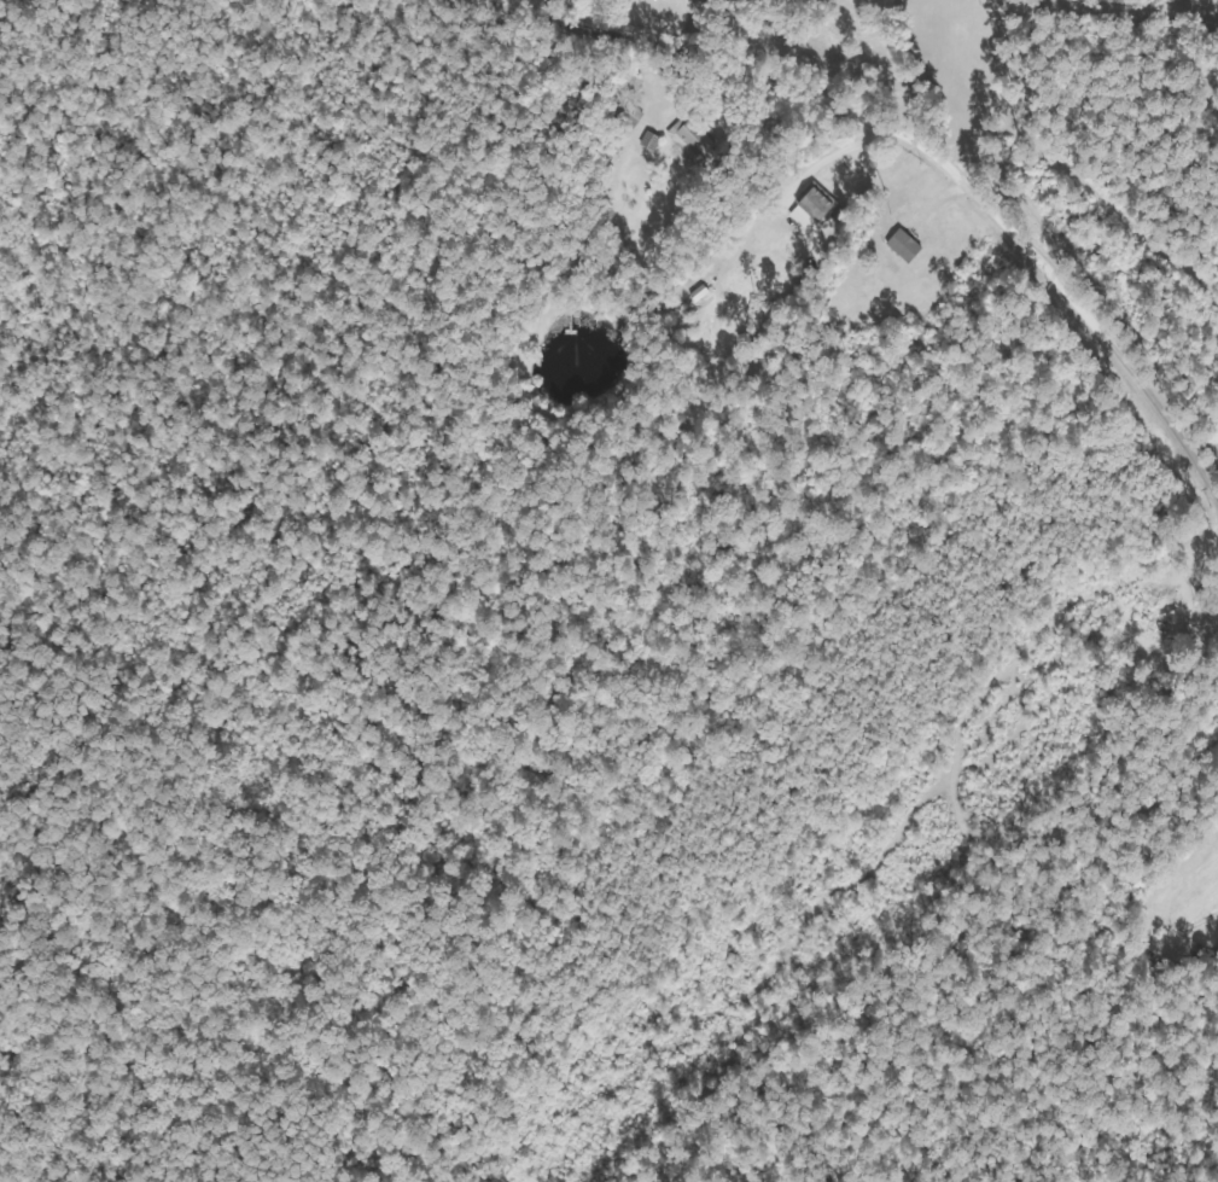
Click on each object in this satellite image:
road: (716, 34)
road: (936, 77)
building: (693, 136)
road: (910, 145)
building: (818, 204)
building: (1170, 622)

